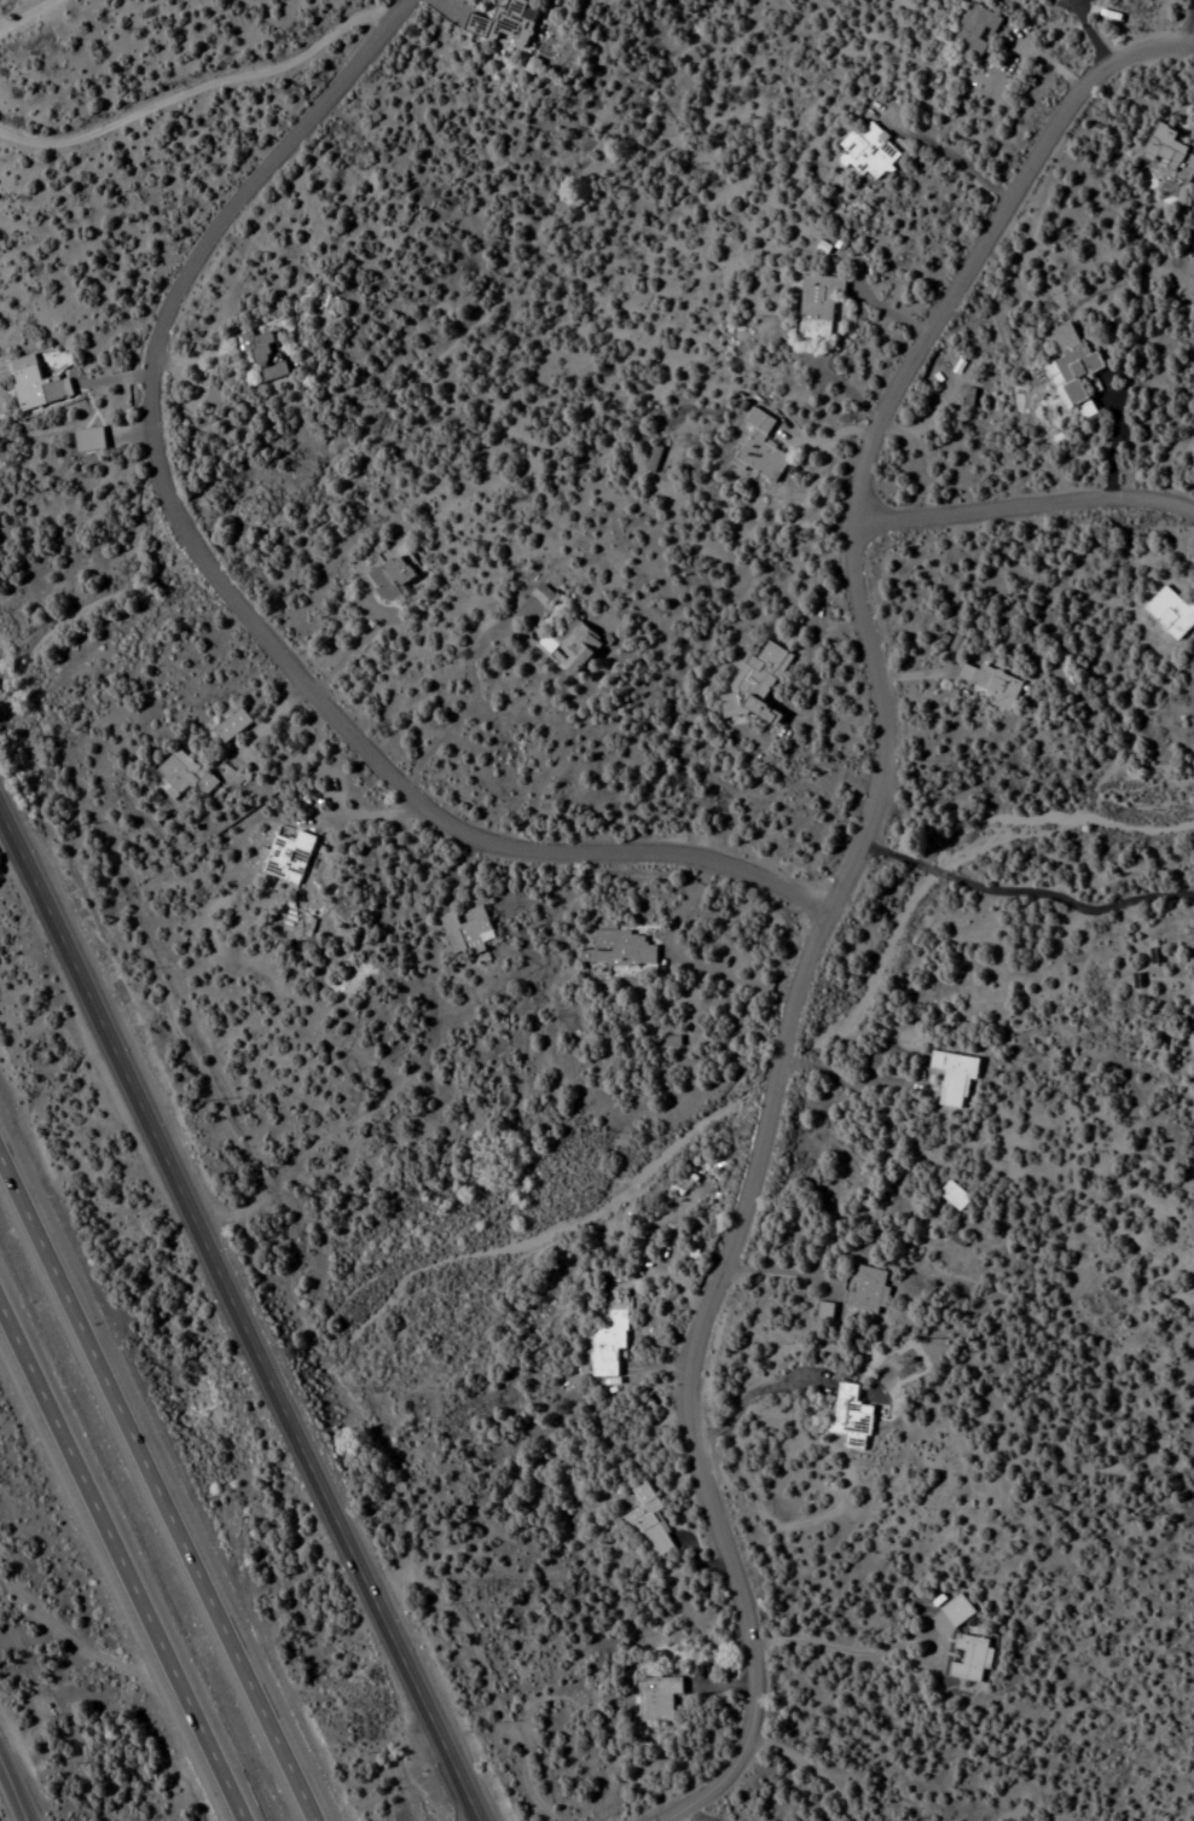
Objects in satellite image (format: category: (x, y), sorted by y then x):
road: (17, 12)
building: (514, 22)
road: (1088, 28)
building: (975, 30)
road: (202, 92)
building: (1170, 152)
building: (870, 156)
road: (979, 240)
building: (817, 306)
building: (262, 353)
building: (1074, 370)
building: (44, 377)
building: (92, 431)
building: (759, 451)
road: (1025, 509)
building: (392, 578)
building: (544, 596)
road: (231, 599)
building: (1171, 614)
building: (573, 646)
road: (347, 653)
building: (990, 684)
building: (758, 685)
road: (469, 698)
road: (877, 721)
building: (232, 726)
building: (181, 776)
building: (288, 858)
road: (897, 862)
building: (468, 932)
building: (619, 950)
building: (952, 1081)
road: (349, 1112)
building: (954, 1196)
building: (866, 1291)
road: (237, 1320)
building: (609, 1340)
road: (688, 1378)
building: (850, 1414)
road: (149, 1495)
building: (648, 1523)
road: (127, 1555)
building: (6, 1572)
building: (955, 1612)
road: (88, 1645)
building: (968, 1659)
building: (656, 1699)
road: (11, 1791)
road: (721, 1809)

